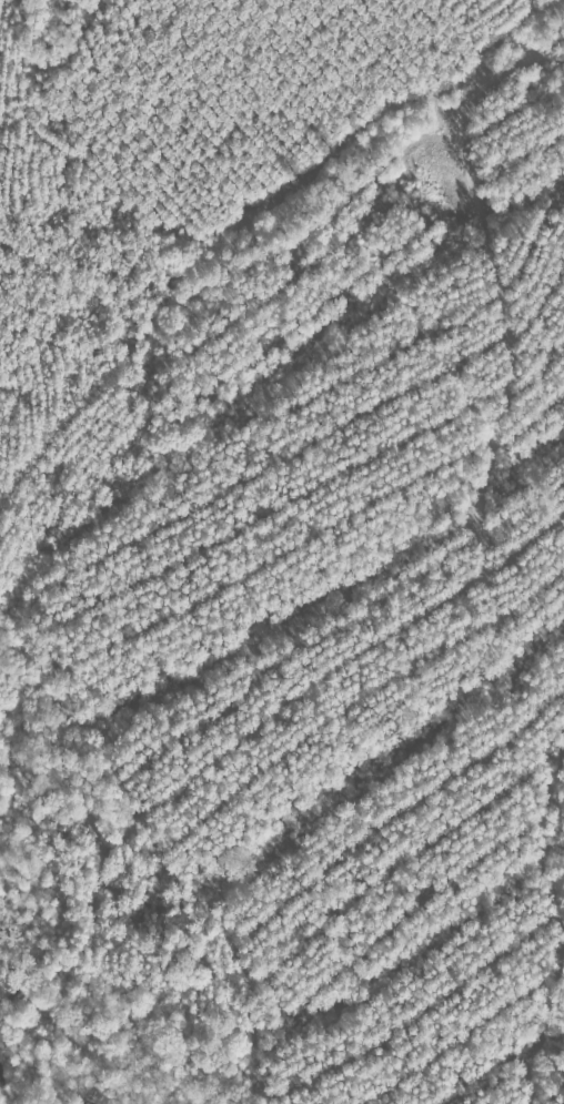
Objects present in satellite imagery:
road: (266, 227)
road: (79, 881)

